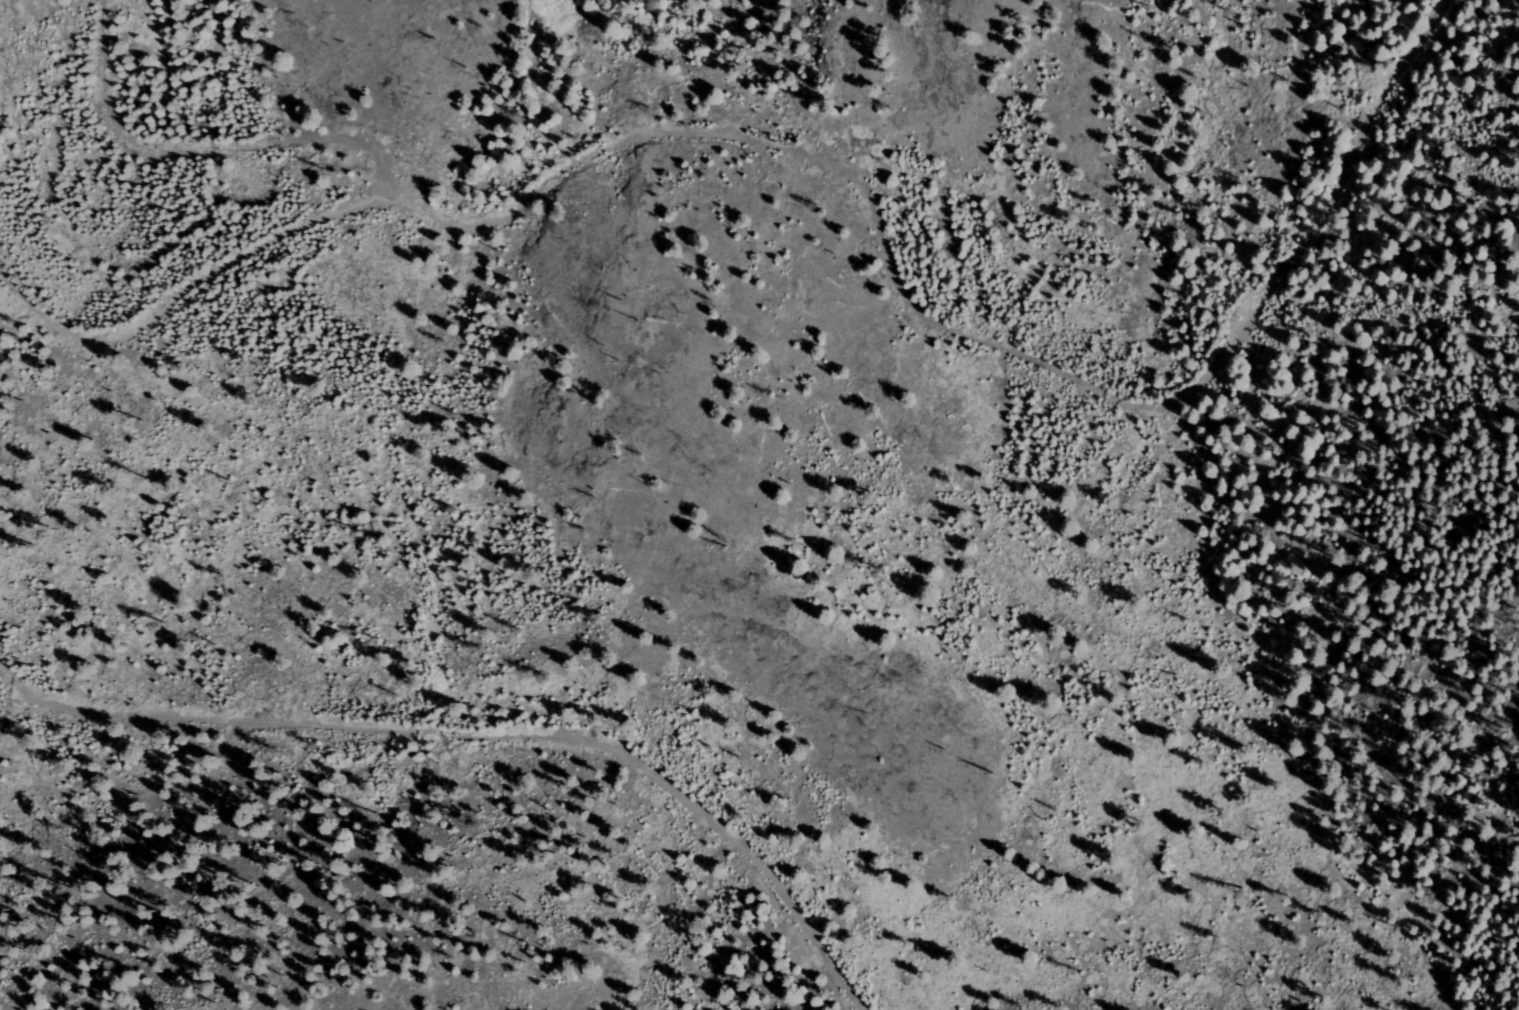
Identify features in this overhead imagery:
road: (841, 171)
road: (484, 737)

